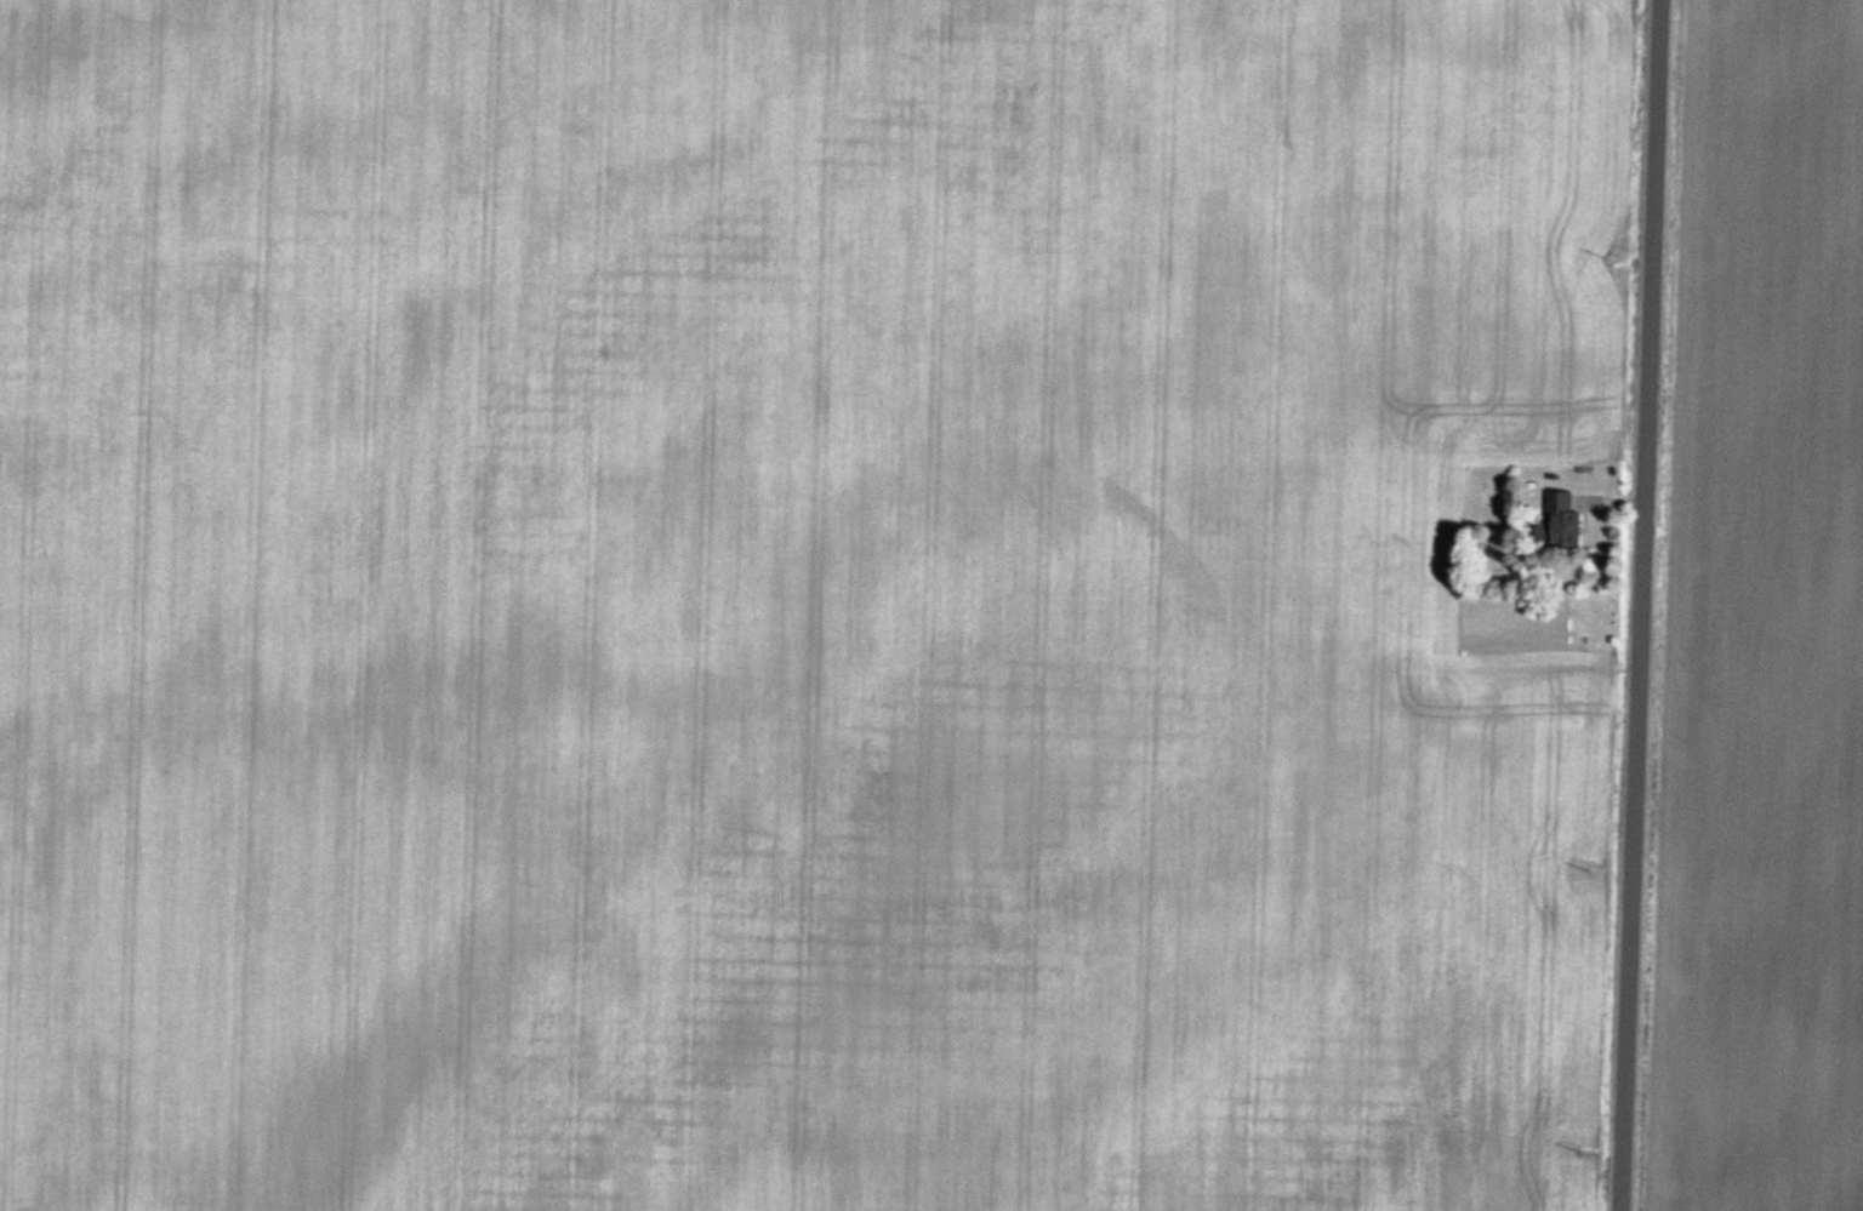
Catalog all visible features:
building: (1562, 520)
road: (1639, 605)

